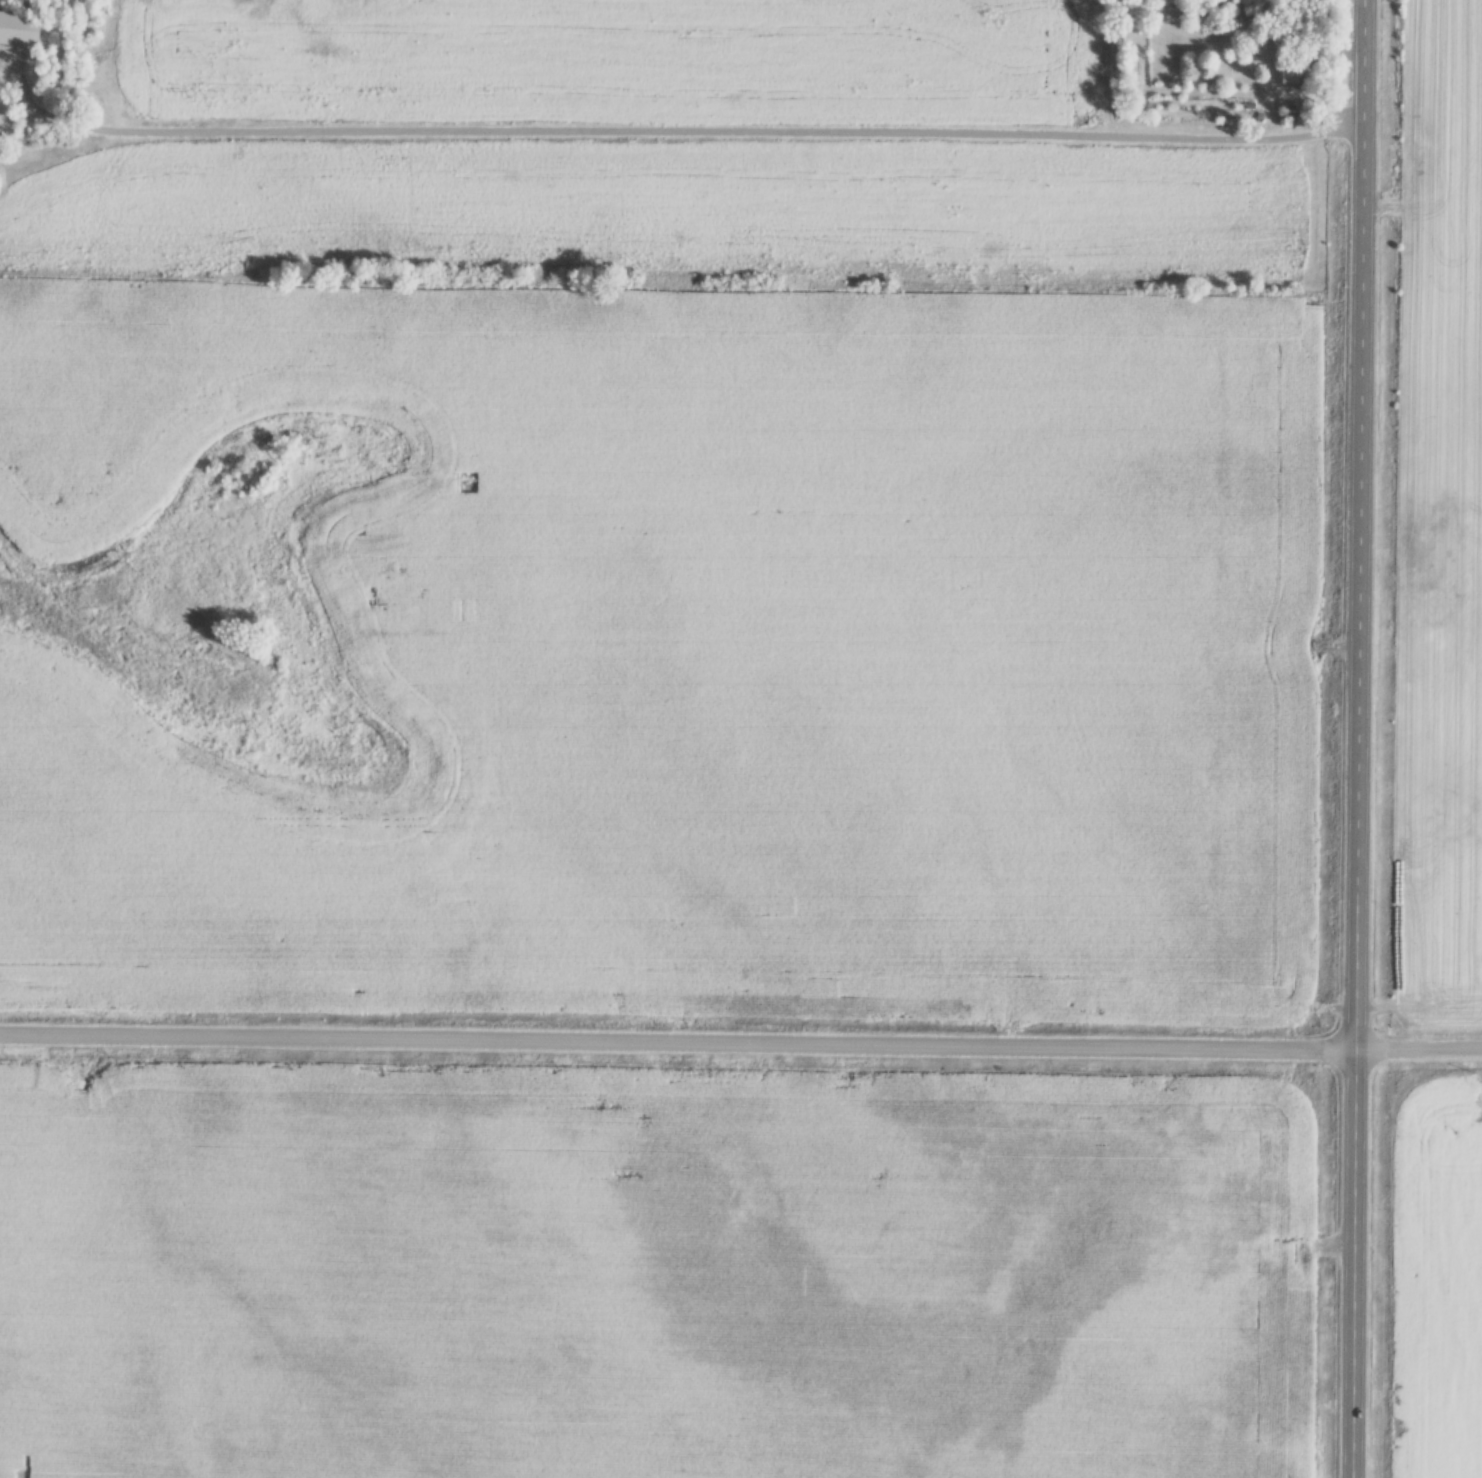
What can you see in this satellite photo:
building: (1301, 76)
road: (13, 88)
road: (685, 133)
road: (1358, 738)
road: (741, 1042)

